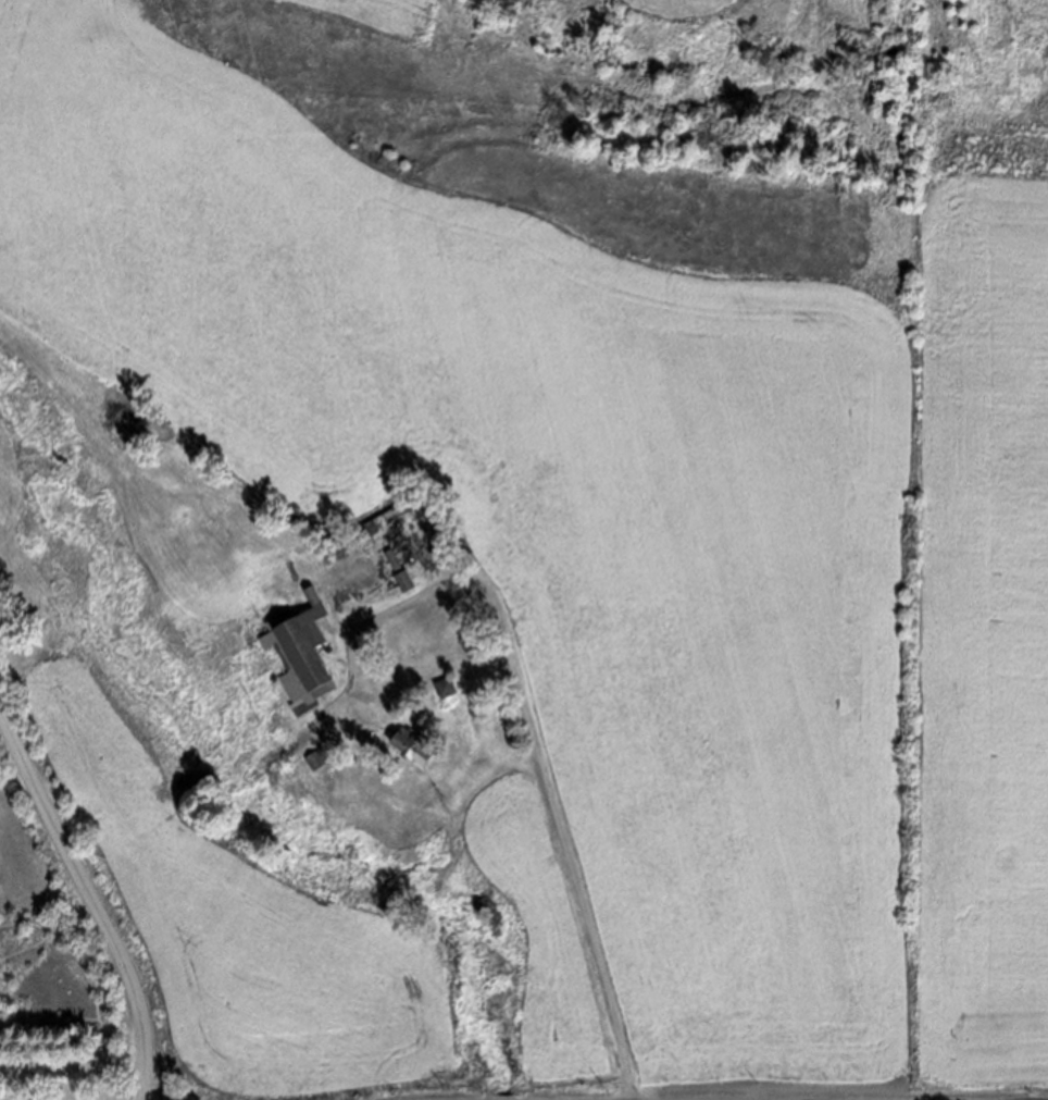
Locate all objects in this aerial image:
road: (446, 411)
building: (388, 517)
building: (406, 580)
building: (296, 652)
road: (486, 669)
building: (447, 687)
building: (412, 743)
building: (315, 759)
road: (545, 771)
road: (88, 903)

